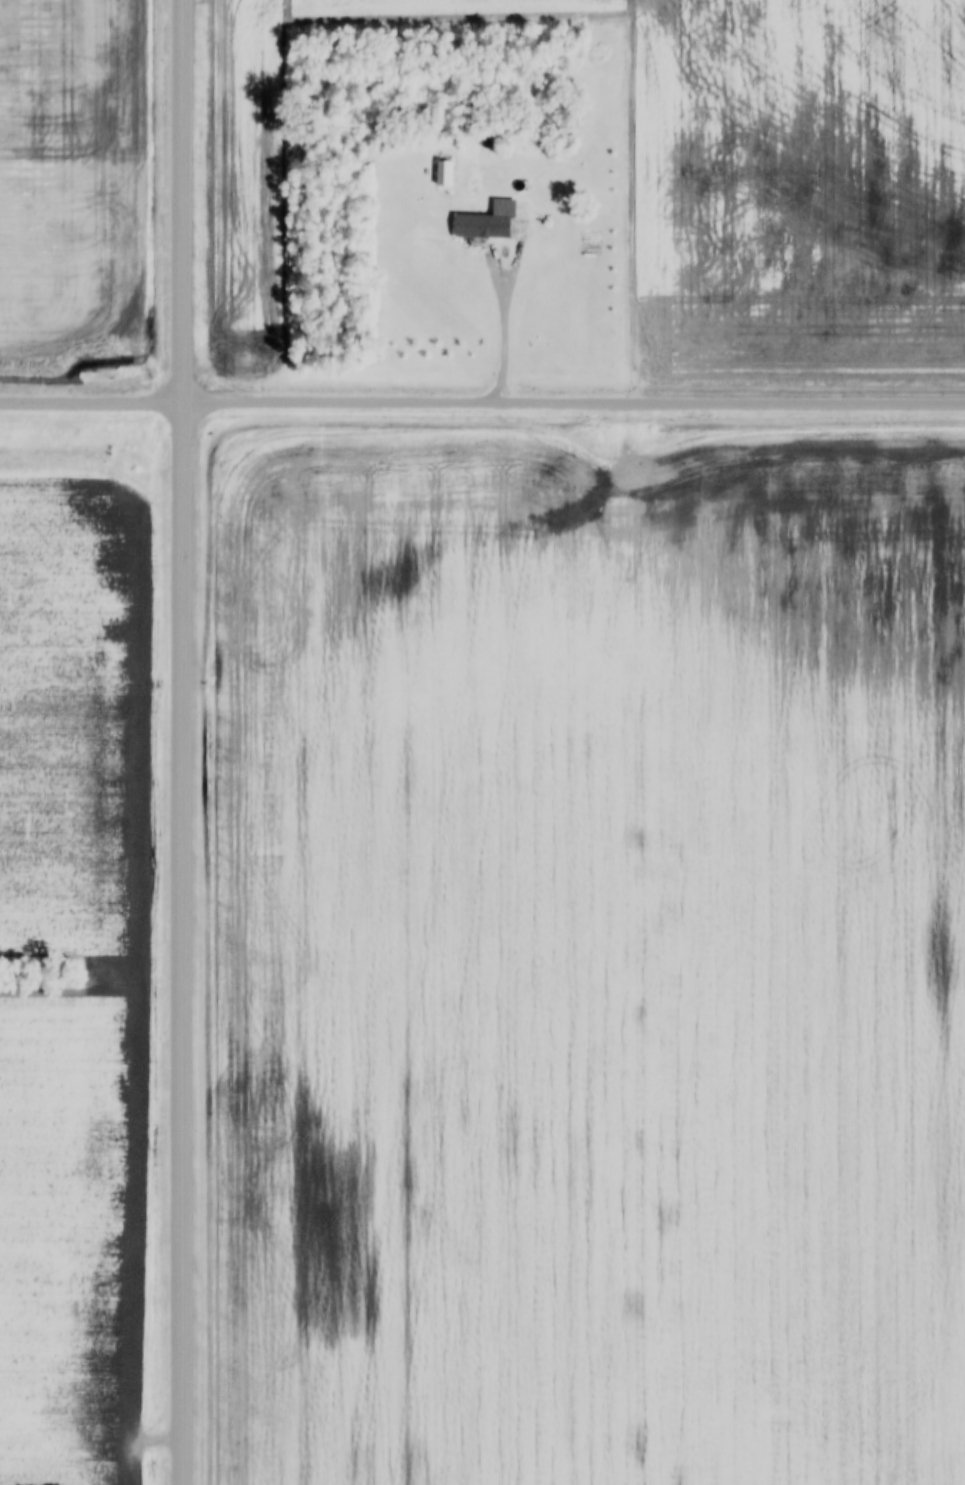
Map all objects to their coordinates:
building: (441, 172)
building: (479, 224)
road: (489, 255)
road: (482, 403)
road: (181, 742)

